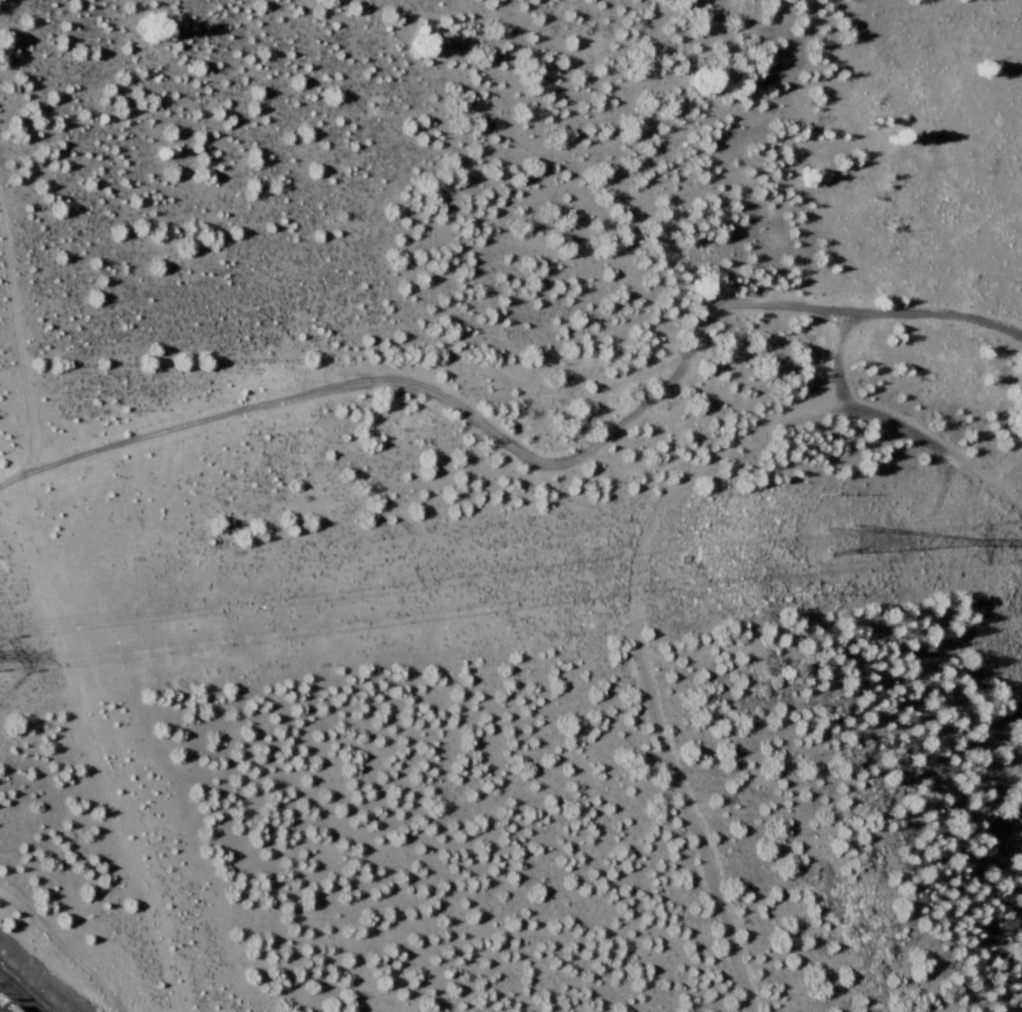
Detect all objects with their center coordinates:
road: (18, 352)
road: (528, 457)
power tower: (891, 543)
road: (61, 946)
power substation: (16, 997)

